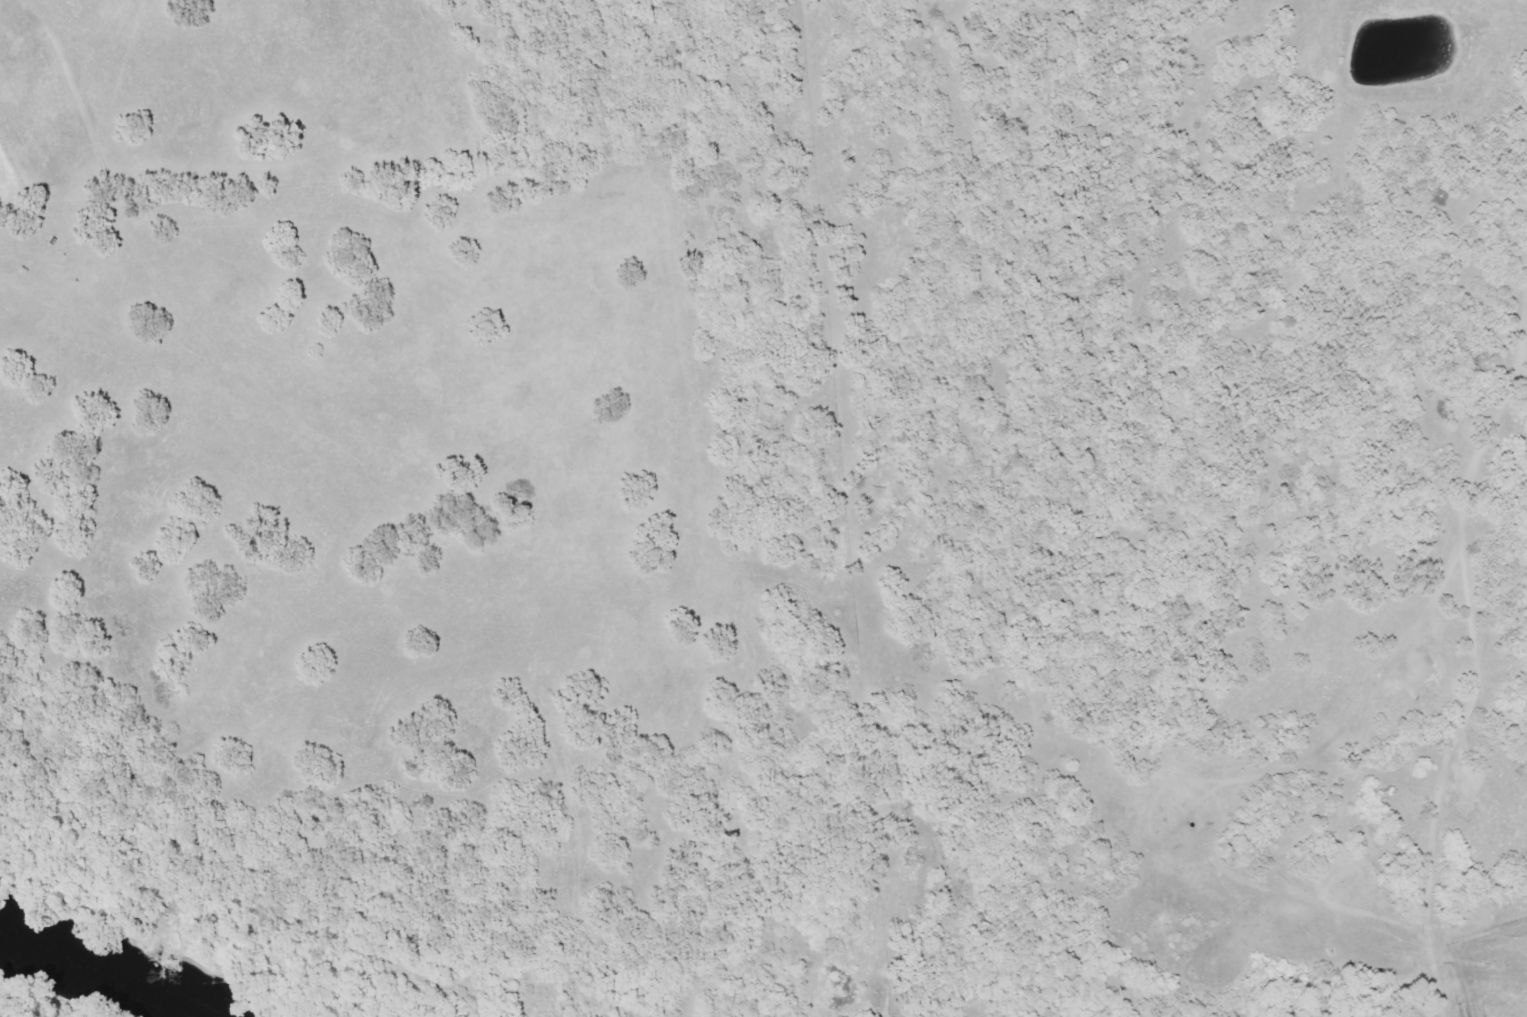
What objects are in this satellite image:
road: (1510, 647)
river: (107, 963)

